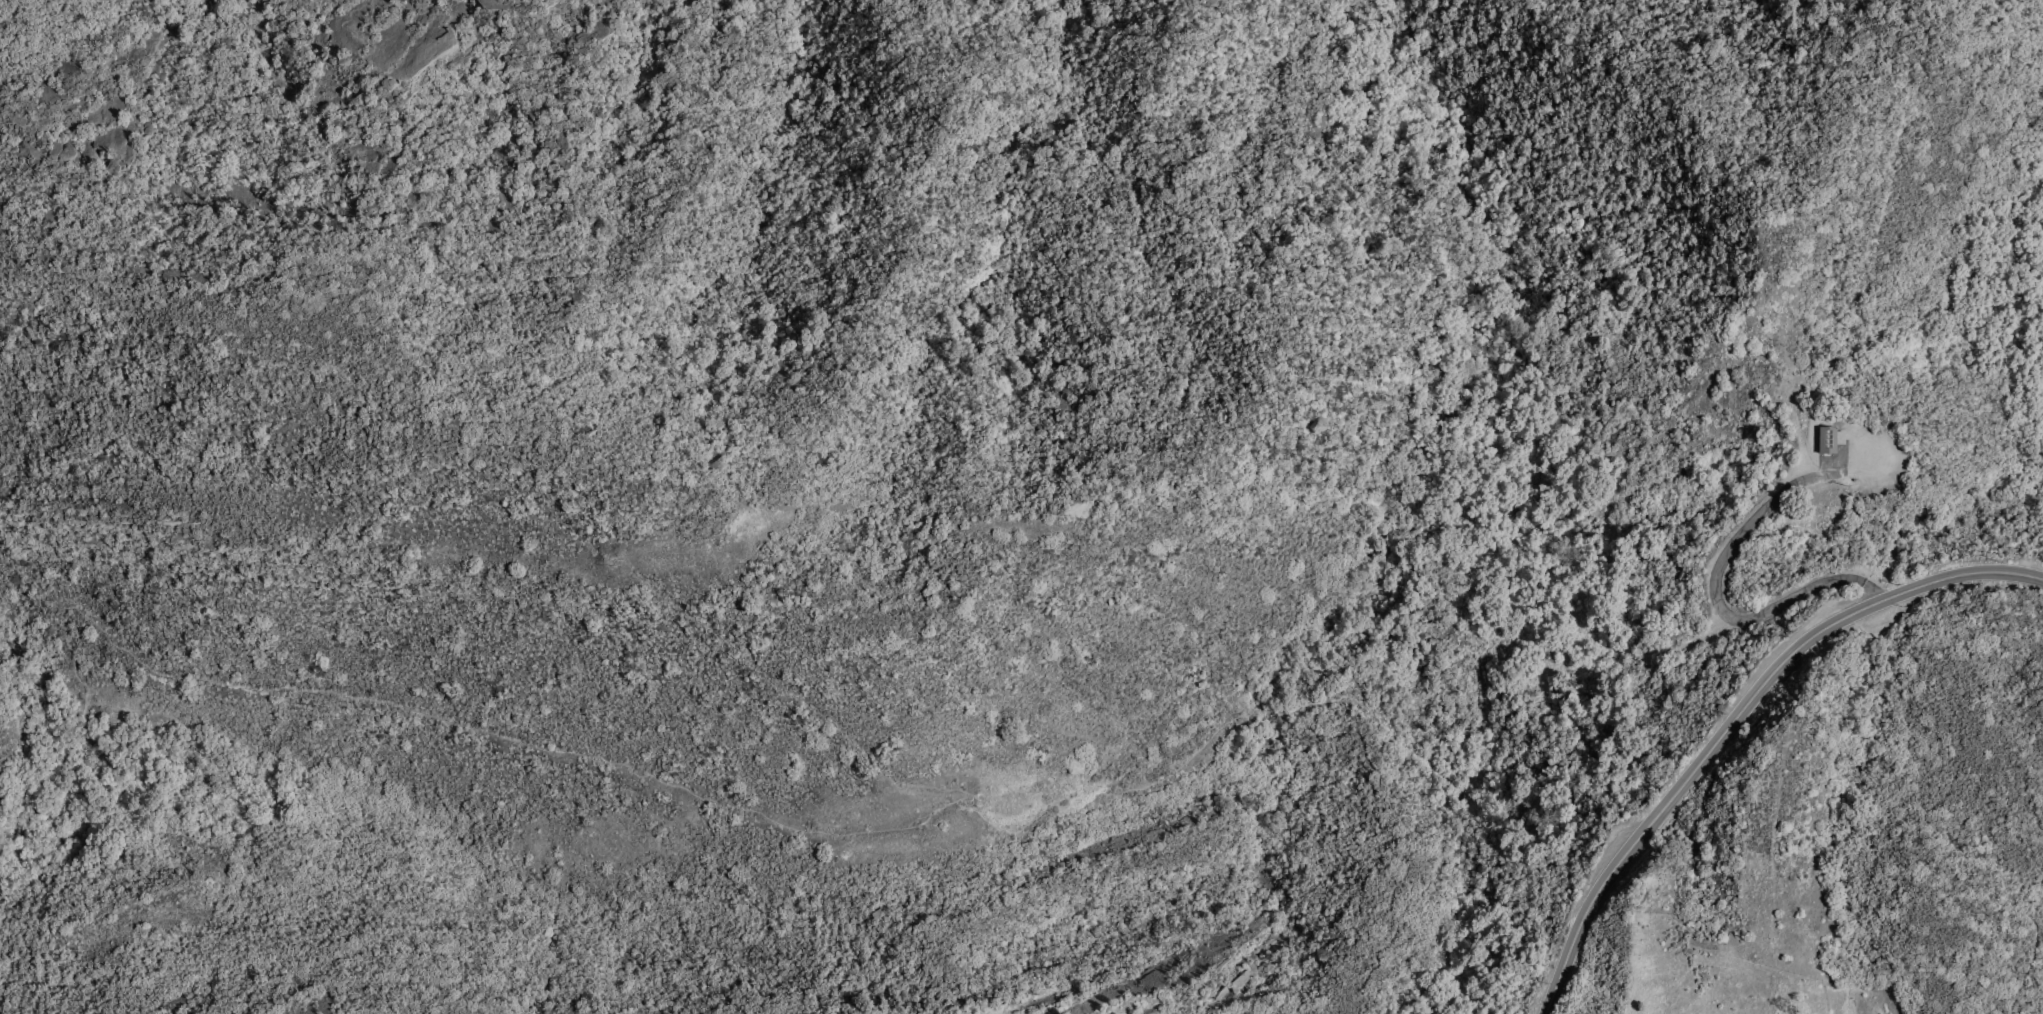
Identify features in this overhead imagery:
building: (1830, 440)
road: (1719, 604)
road: (1738, 719)
road: (2032, 941)

